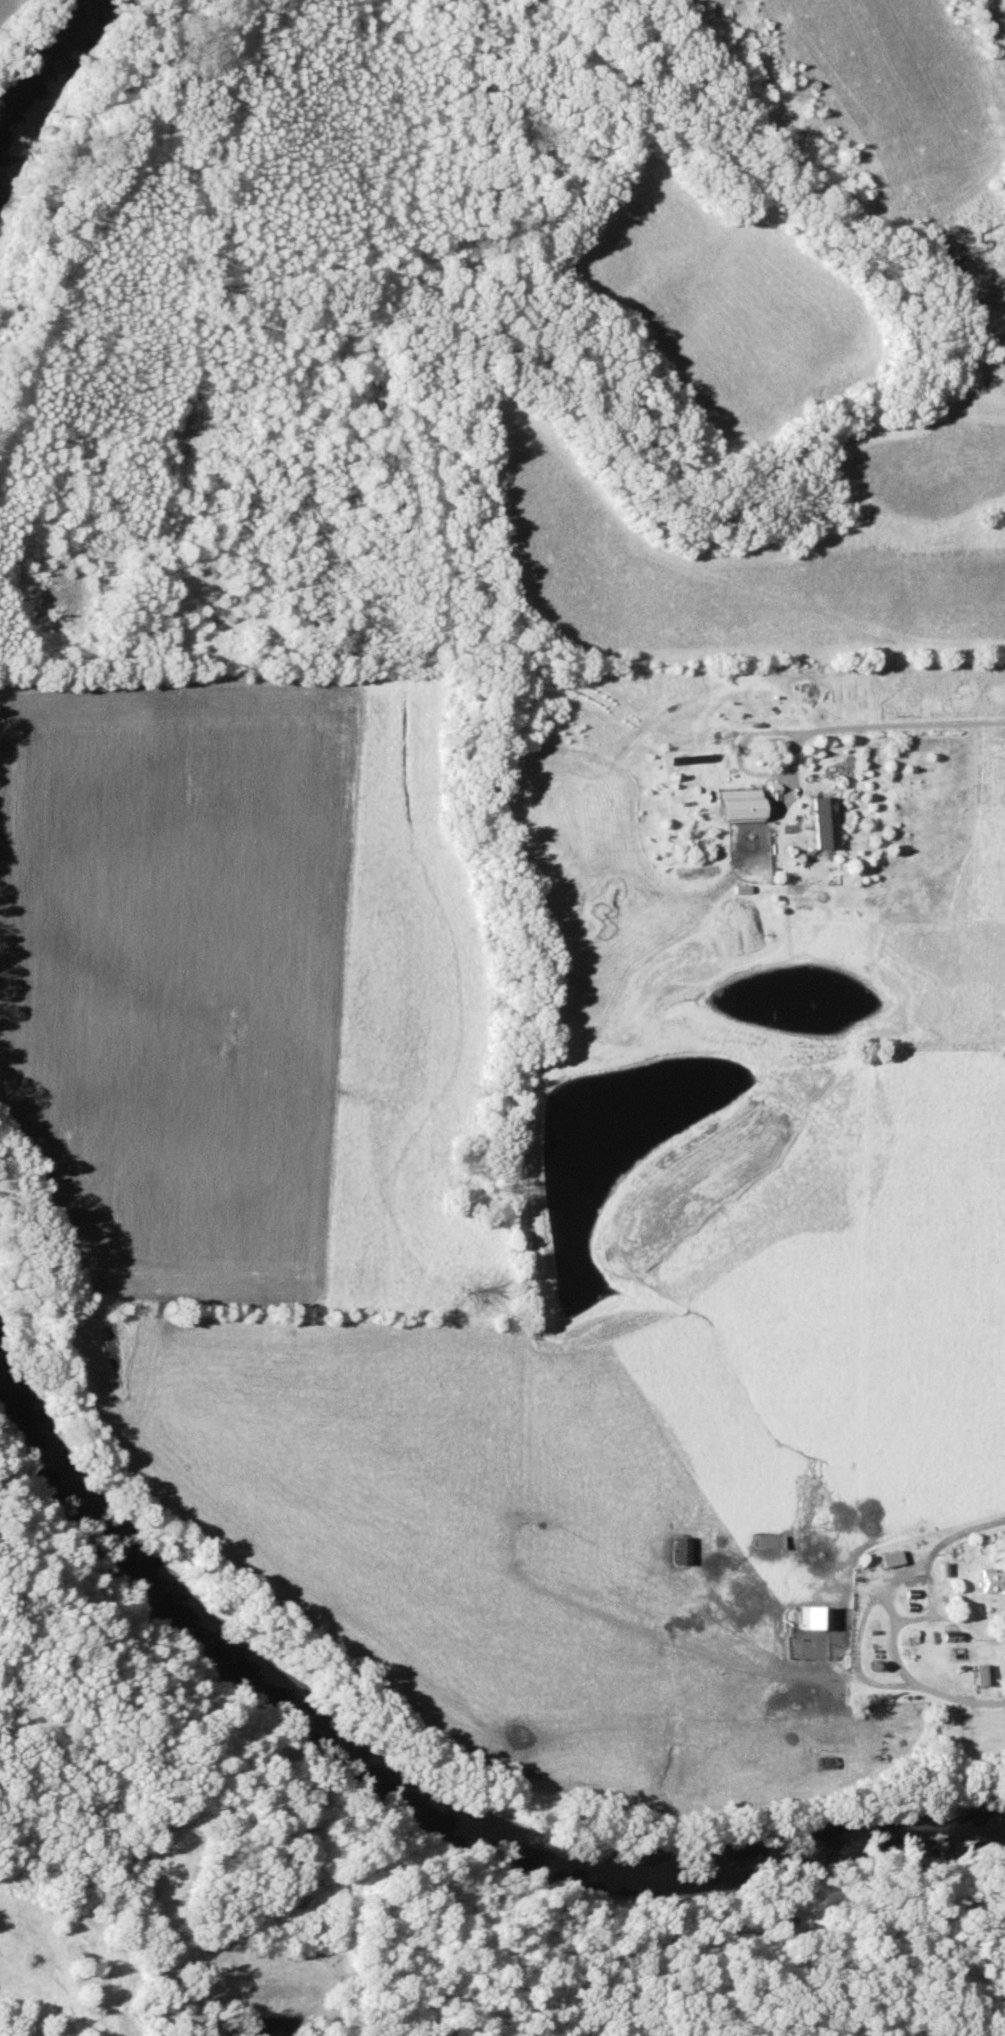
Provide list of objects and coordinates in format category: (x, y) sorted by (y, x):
river: (36, 57)
road: (899, 724)
road: (739, 764)
building: (741, 805)
building: (824, 822)
building: (680, 1548)
building: (890, 1557)
building: (992, 1581)
building: (812, 1616)
road: (889, 1616)
building: (979, 1674)
river: (428, 1791)
road: (107, 1913)

